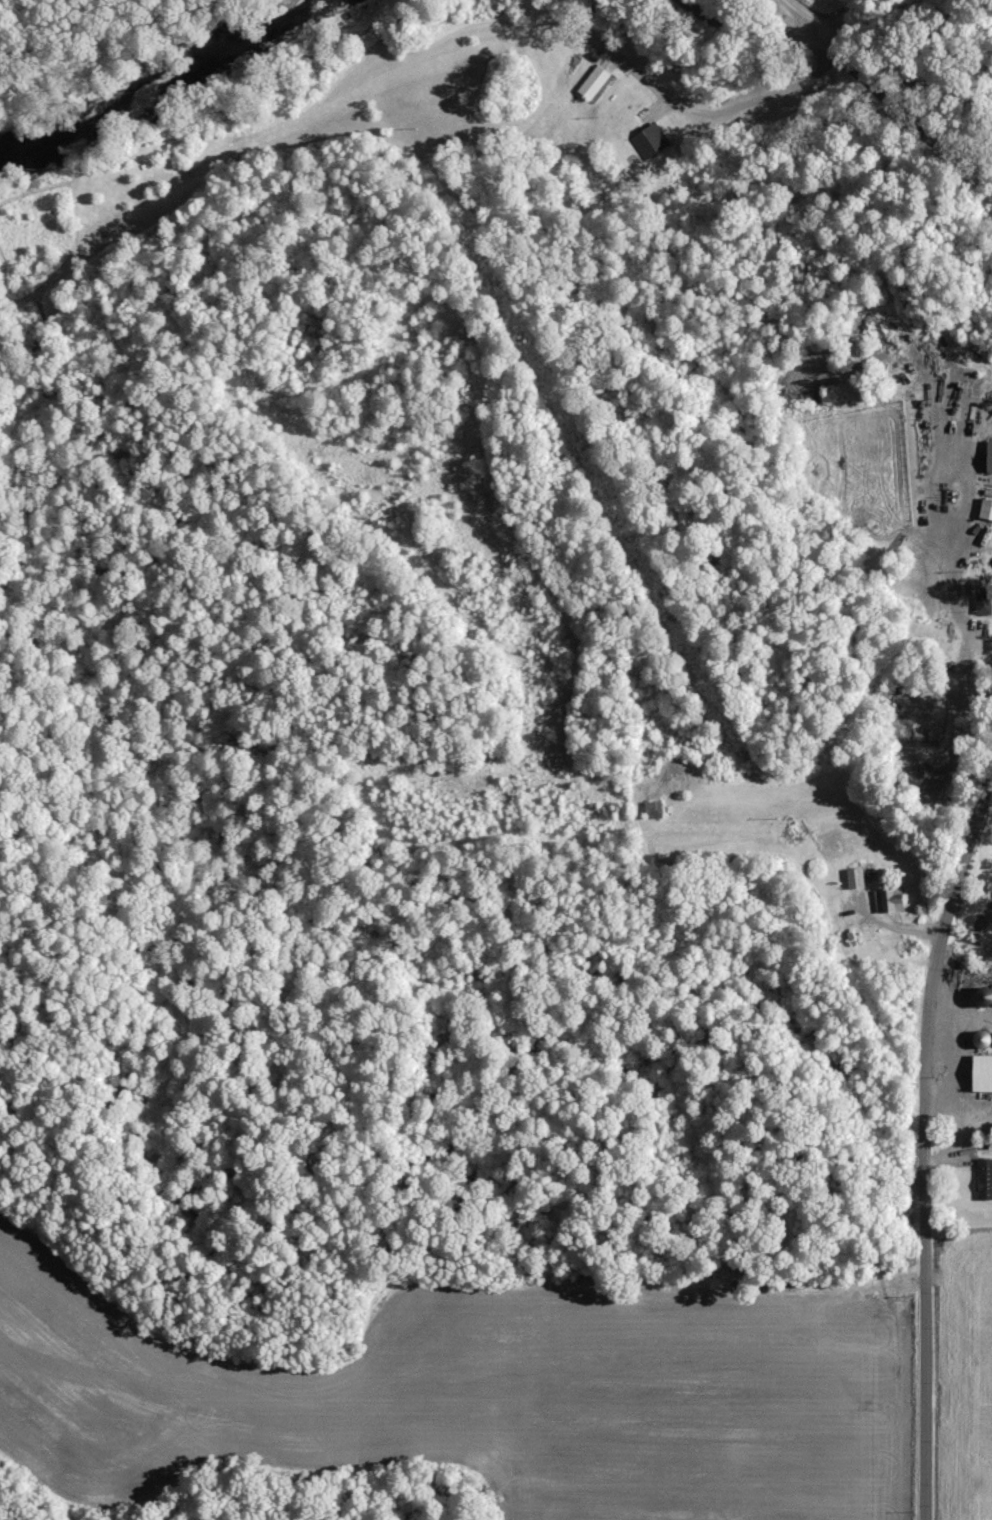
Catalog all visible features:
road: (814, 24)
building: (596, 82)
road: (863, 86)
building: (652, 142)
building: (991, 458)
building: (987, 506)
road: (943, 554)
building: (985, 602)
building: (857, 877)
building: (890, 901)
road: (954, 1024)
building: (984, 1073)
road: (915, 1135)
building: (986, 1178)

